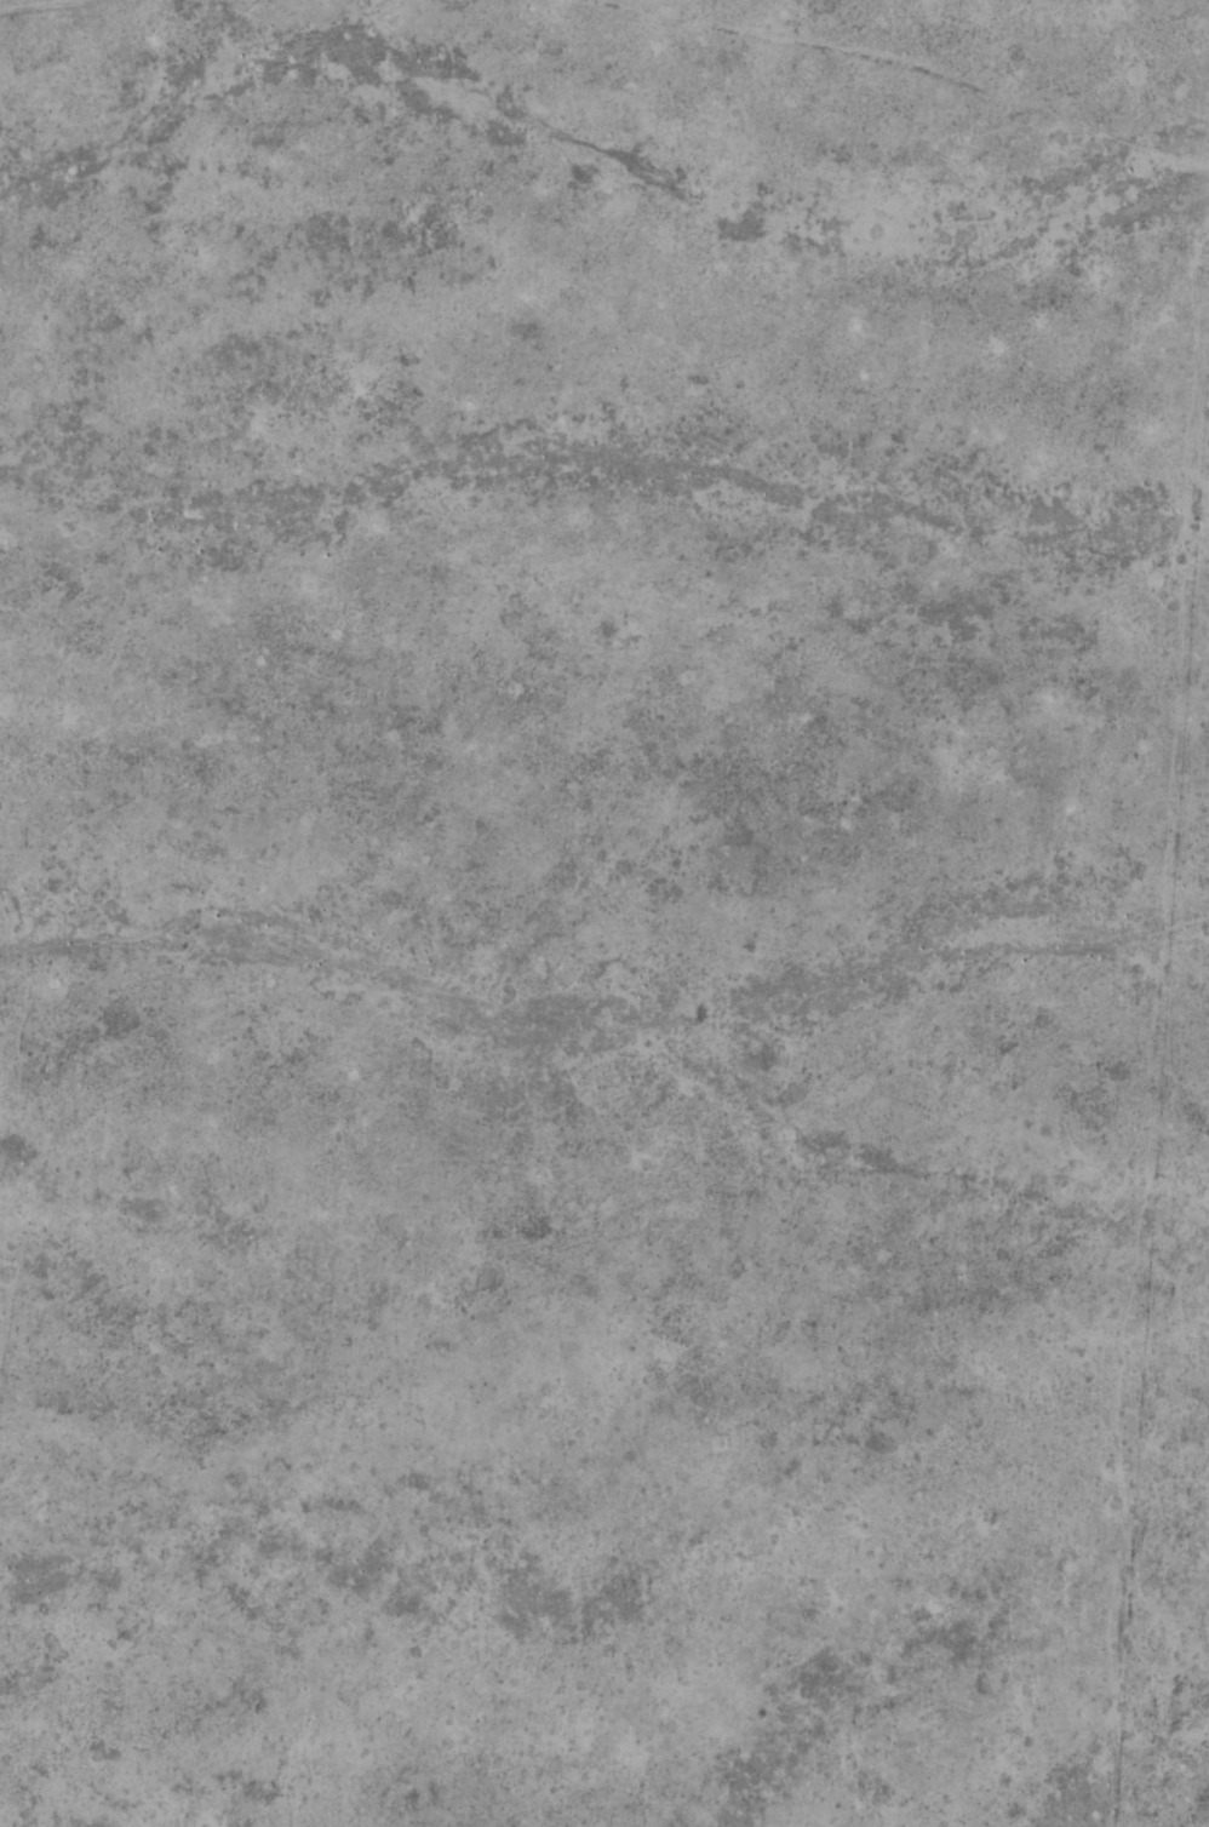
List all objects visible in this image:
road: (111, 24)

